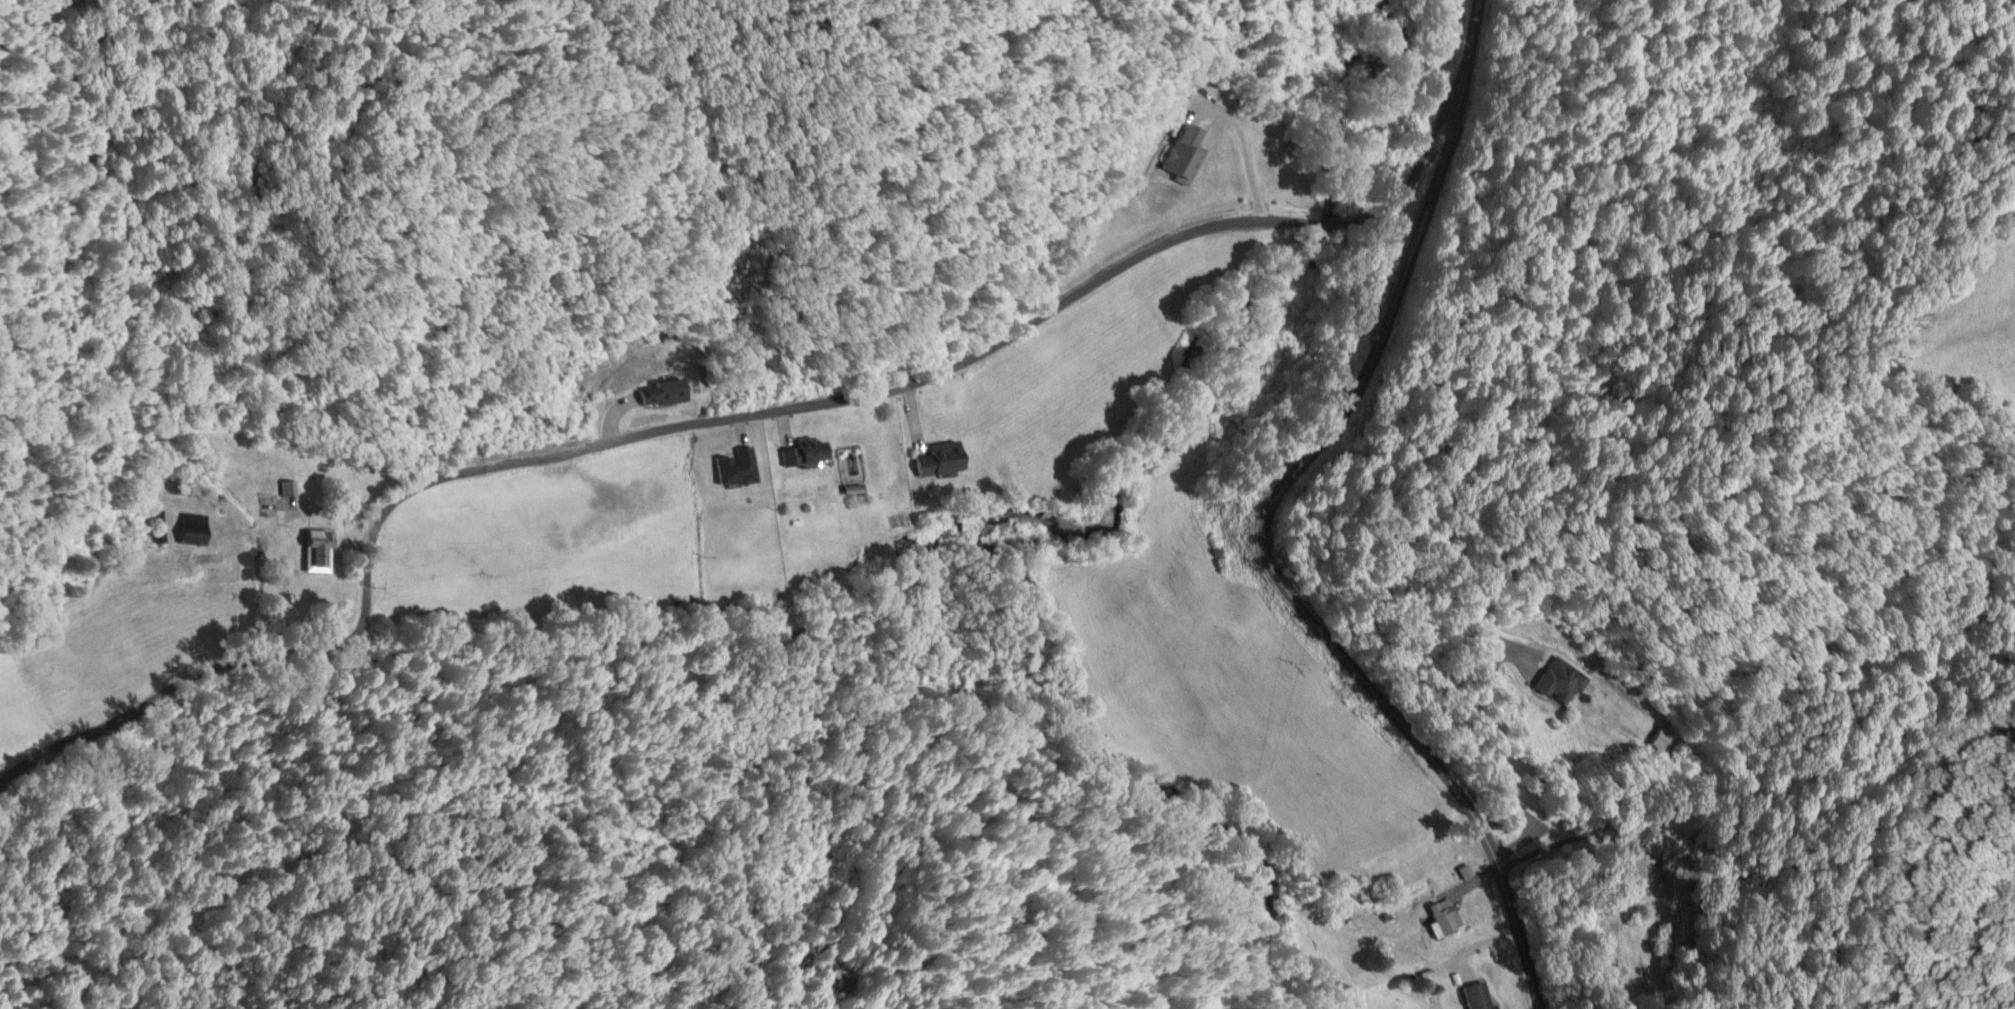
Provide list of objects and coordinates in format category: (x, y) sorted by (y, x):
building: (665, 393)
road: (709, 424)
building: (808, 454)
building: (942, 460)
building: (739, 468)
building: (290, 488)
road: (1271, 522)
building: (187, 529)
building: (319, 551)
building: (1563, 682)
building: (1665, 741)
building: (1447, 918)
building: (1479, 996)

